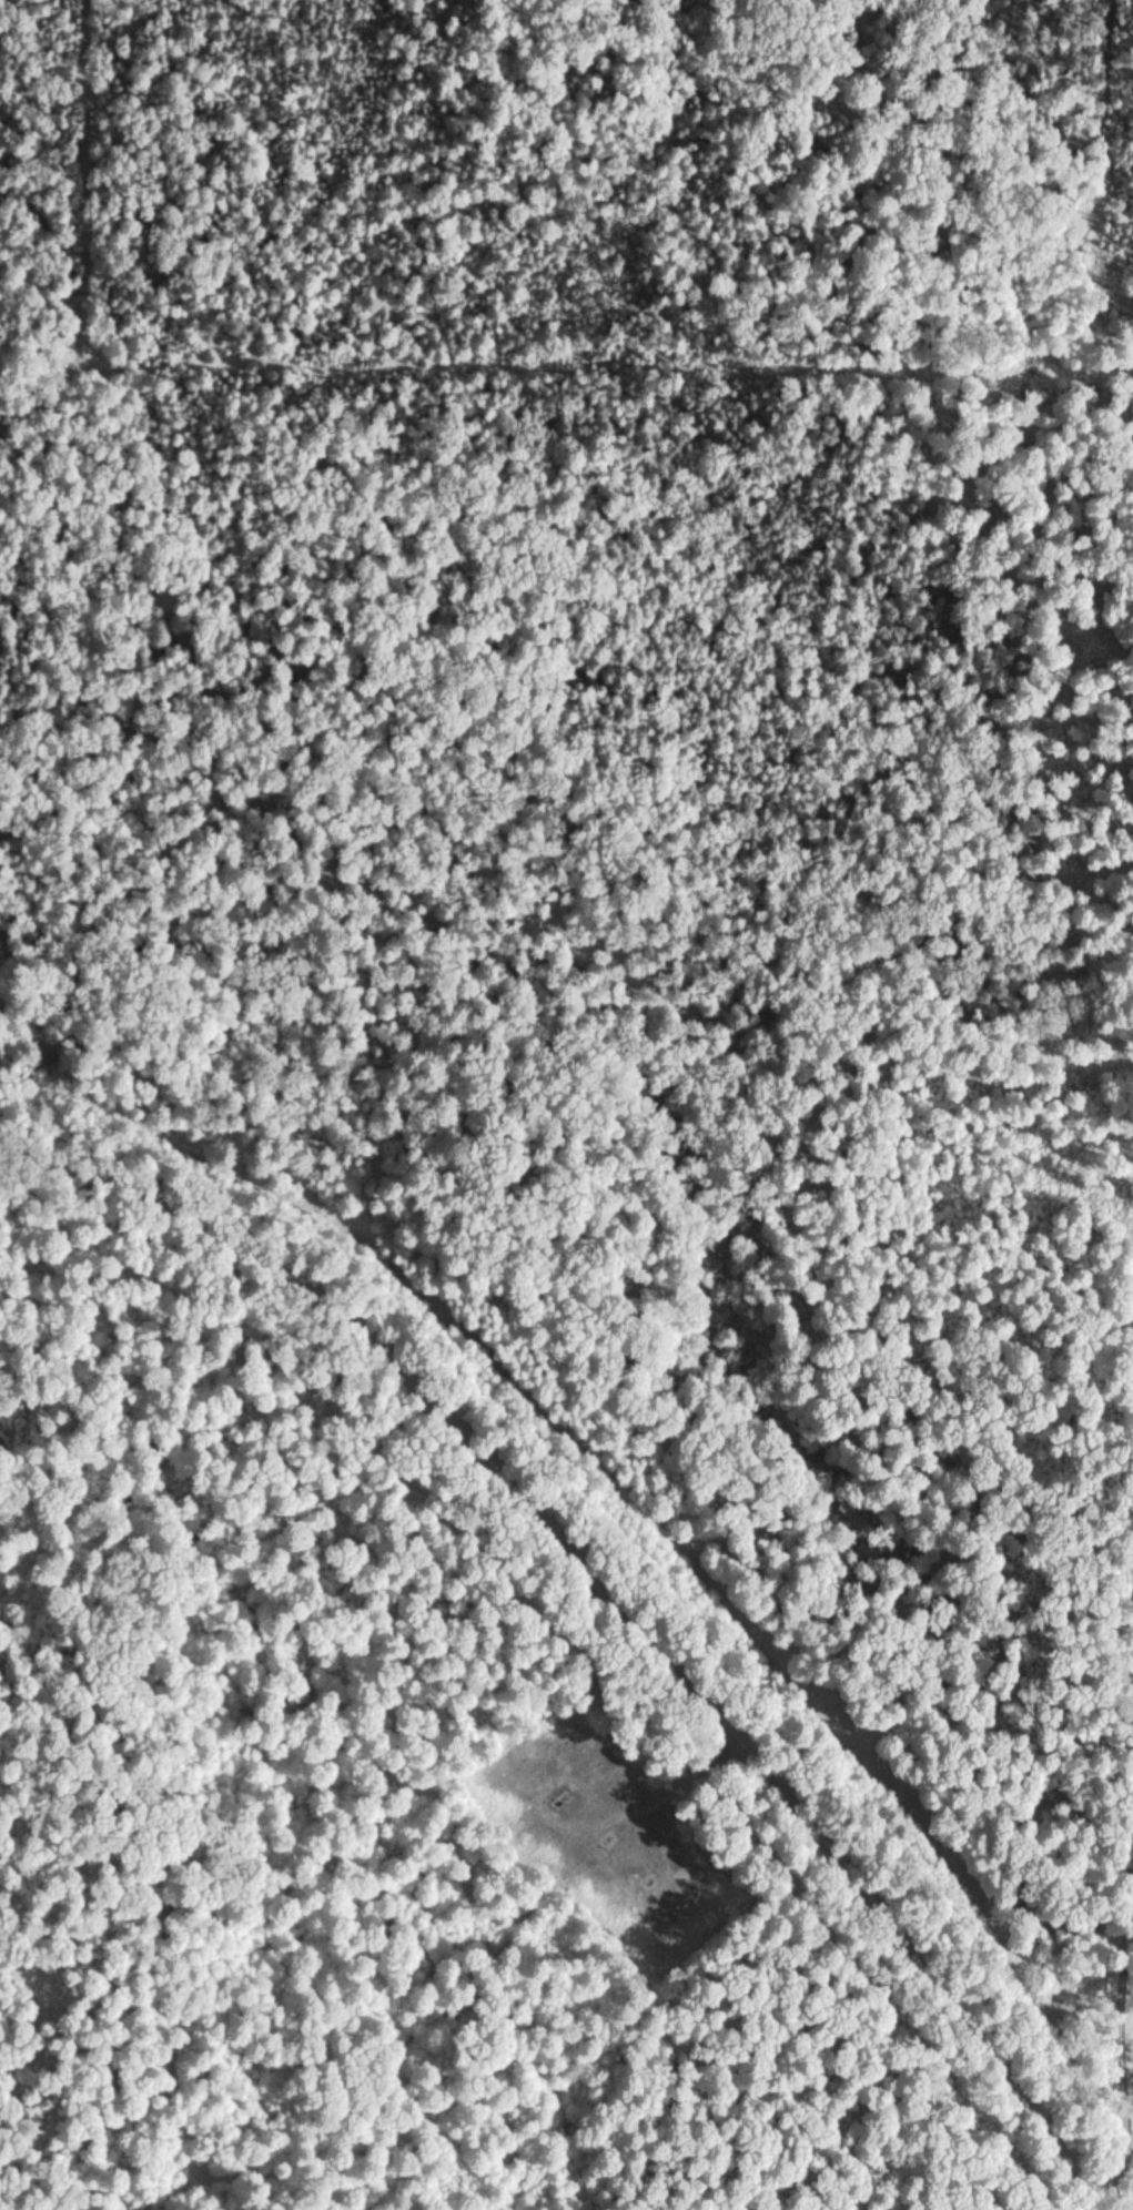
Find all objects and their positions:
road: (623, 1606)

